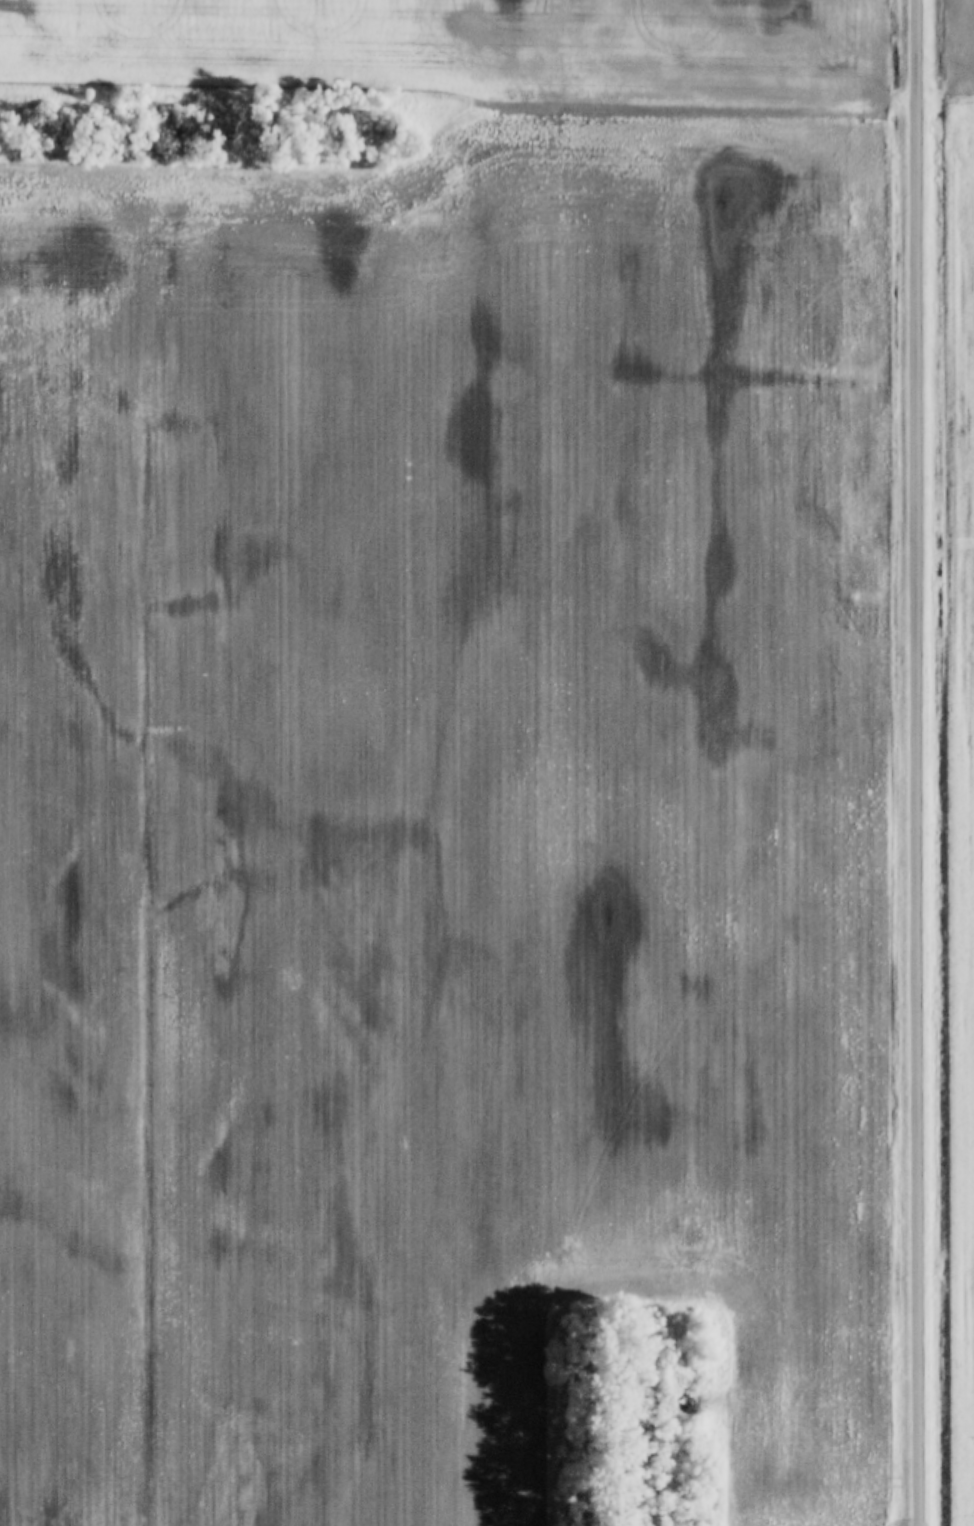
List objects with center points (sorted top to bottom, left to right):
road: (916, 763)

